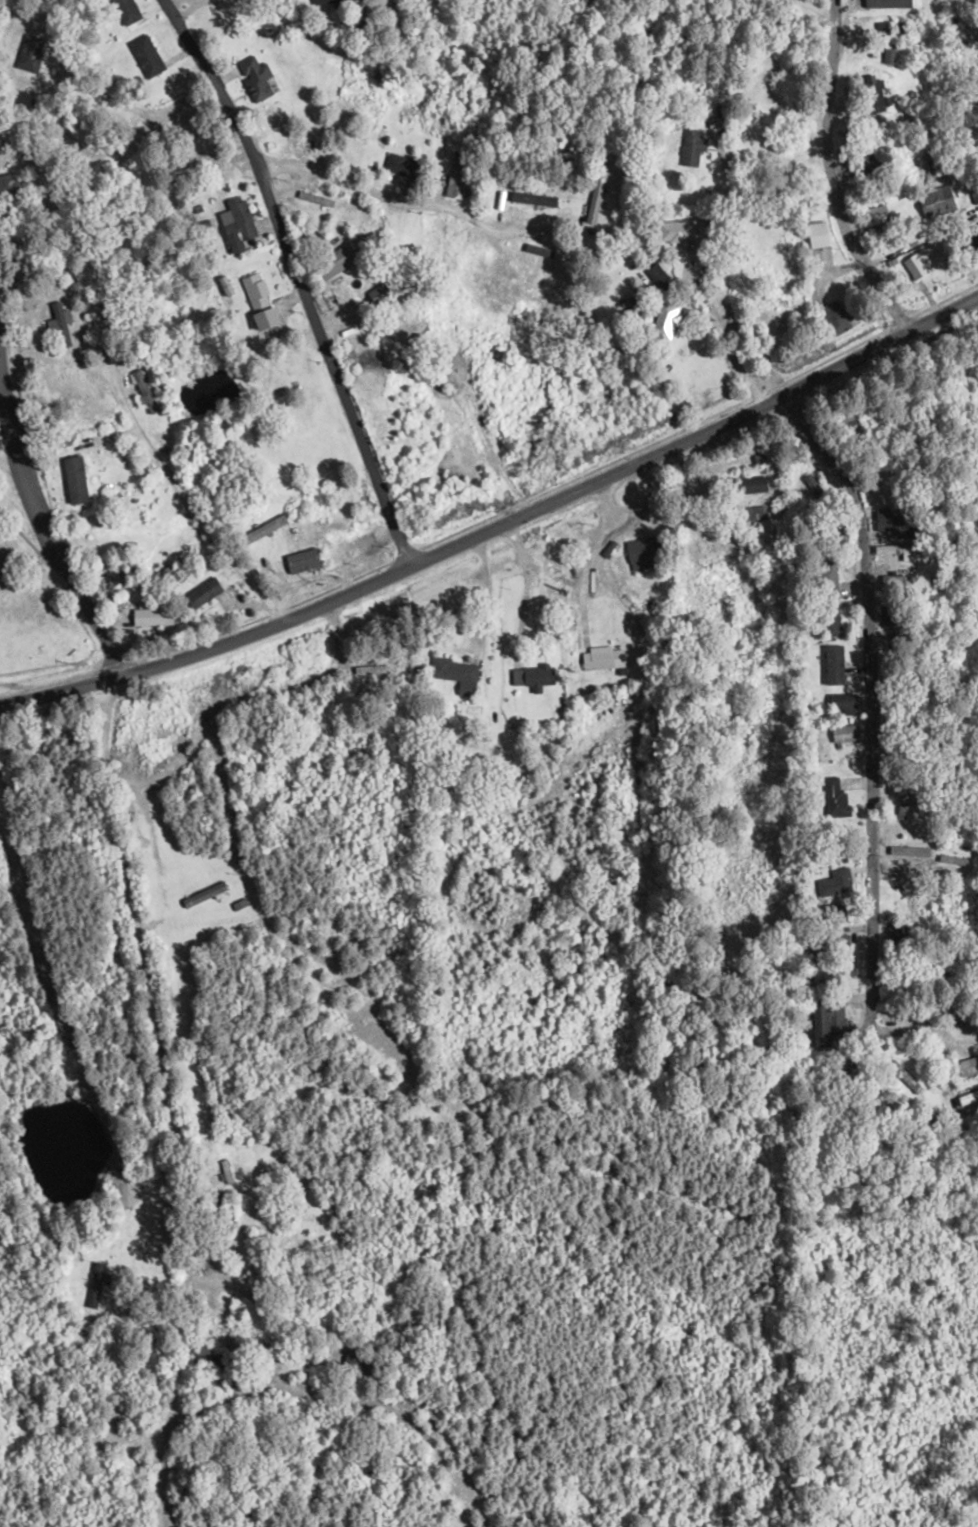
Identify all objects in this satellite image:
building: (324, 2)
road: (190, 8)
building: (124, 10)
road: (821, 12)
building: (890, 29)
building: (30, 53)
building: (887, 53)
building: (144, 54)
building: (254, 79)
building: (871, 95)
building: (727, 117)
building: (690, 149)
building: (401, 165)
building: (455, 174)
road: (773, 176)
road: (830, 184)
building: (7, 186)
road: (407, 199)
building: (935, 201)
building: (873, 216)
building: (235, 219)
building: (676, 230)
building: (974, 235)
building: (333, 261)
building: (917, 264)
building: (656, 274)
road: (299, 278)
building: (252, 292)
building: (835, 317)
building: (664, 319)
building: (59, 324)
building: (773, 324)
road: (721, 338)
road: (102, 352)
road: (863, 356)
building: (749, 484)
building: (809, 485)
building: (887, 522)
road: (52, 545)
building: (639, 552)
building: (301, 563)
building: (829, 575)
road: (382, 580)
building: (201, 592)
building: (149, 616)
building: (829, 618)
building: (601, 658)
building: (832, 664)
building: (449, 670)
building: (530, 676)
building: (841, 703)
road: (869, 703)
building: (841, 733)
building: (834, 798)
building: (915, 850)
building: (947, 860)
building: (834, 882)
building: (202, 894)
road: (478, 936)
building: (830, 942)
building: (826, 1021)
building: (969, 1062)
building: (226, 1171)
building: (97, 1286)
building: (203, 1357)
building: (353, 1362)
building: (212, 1382)

